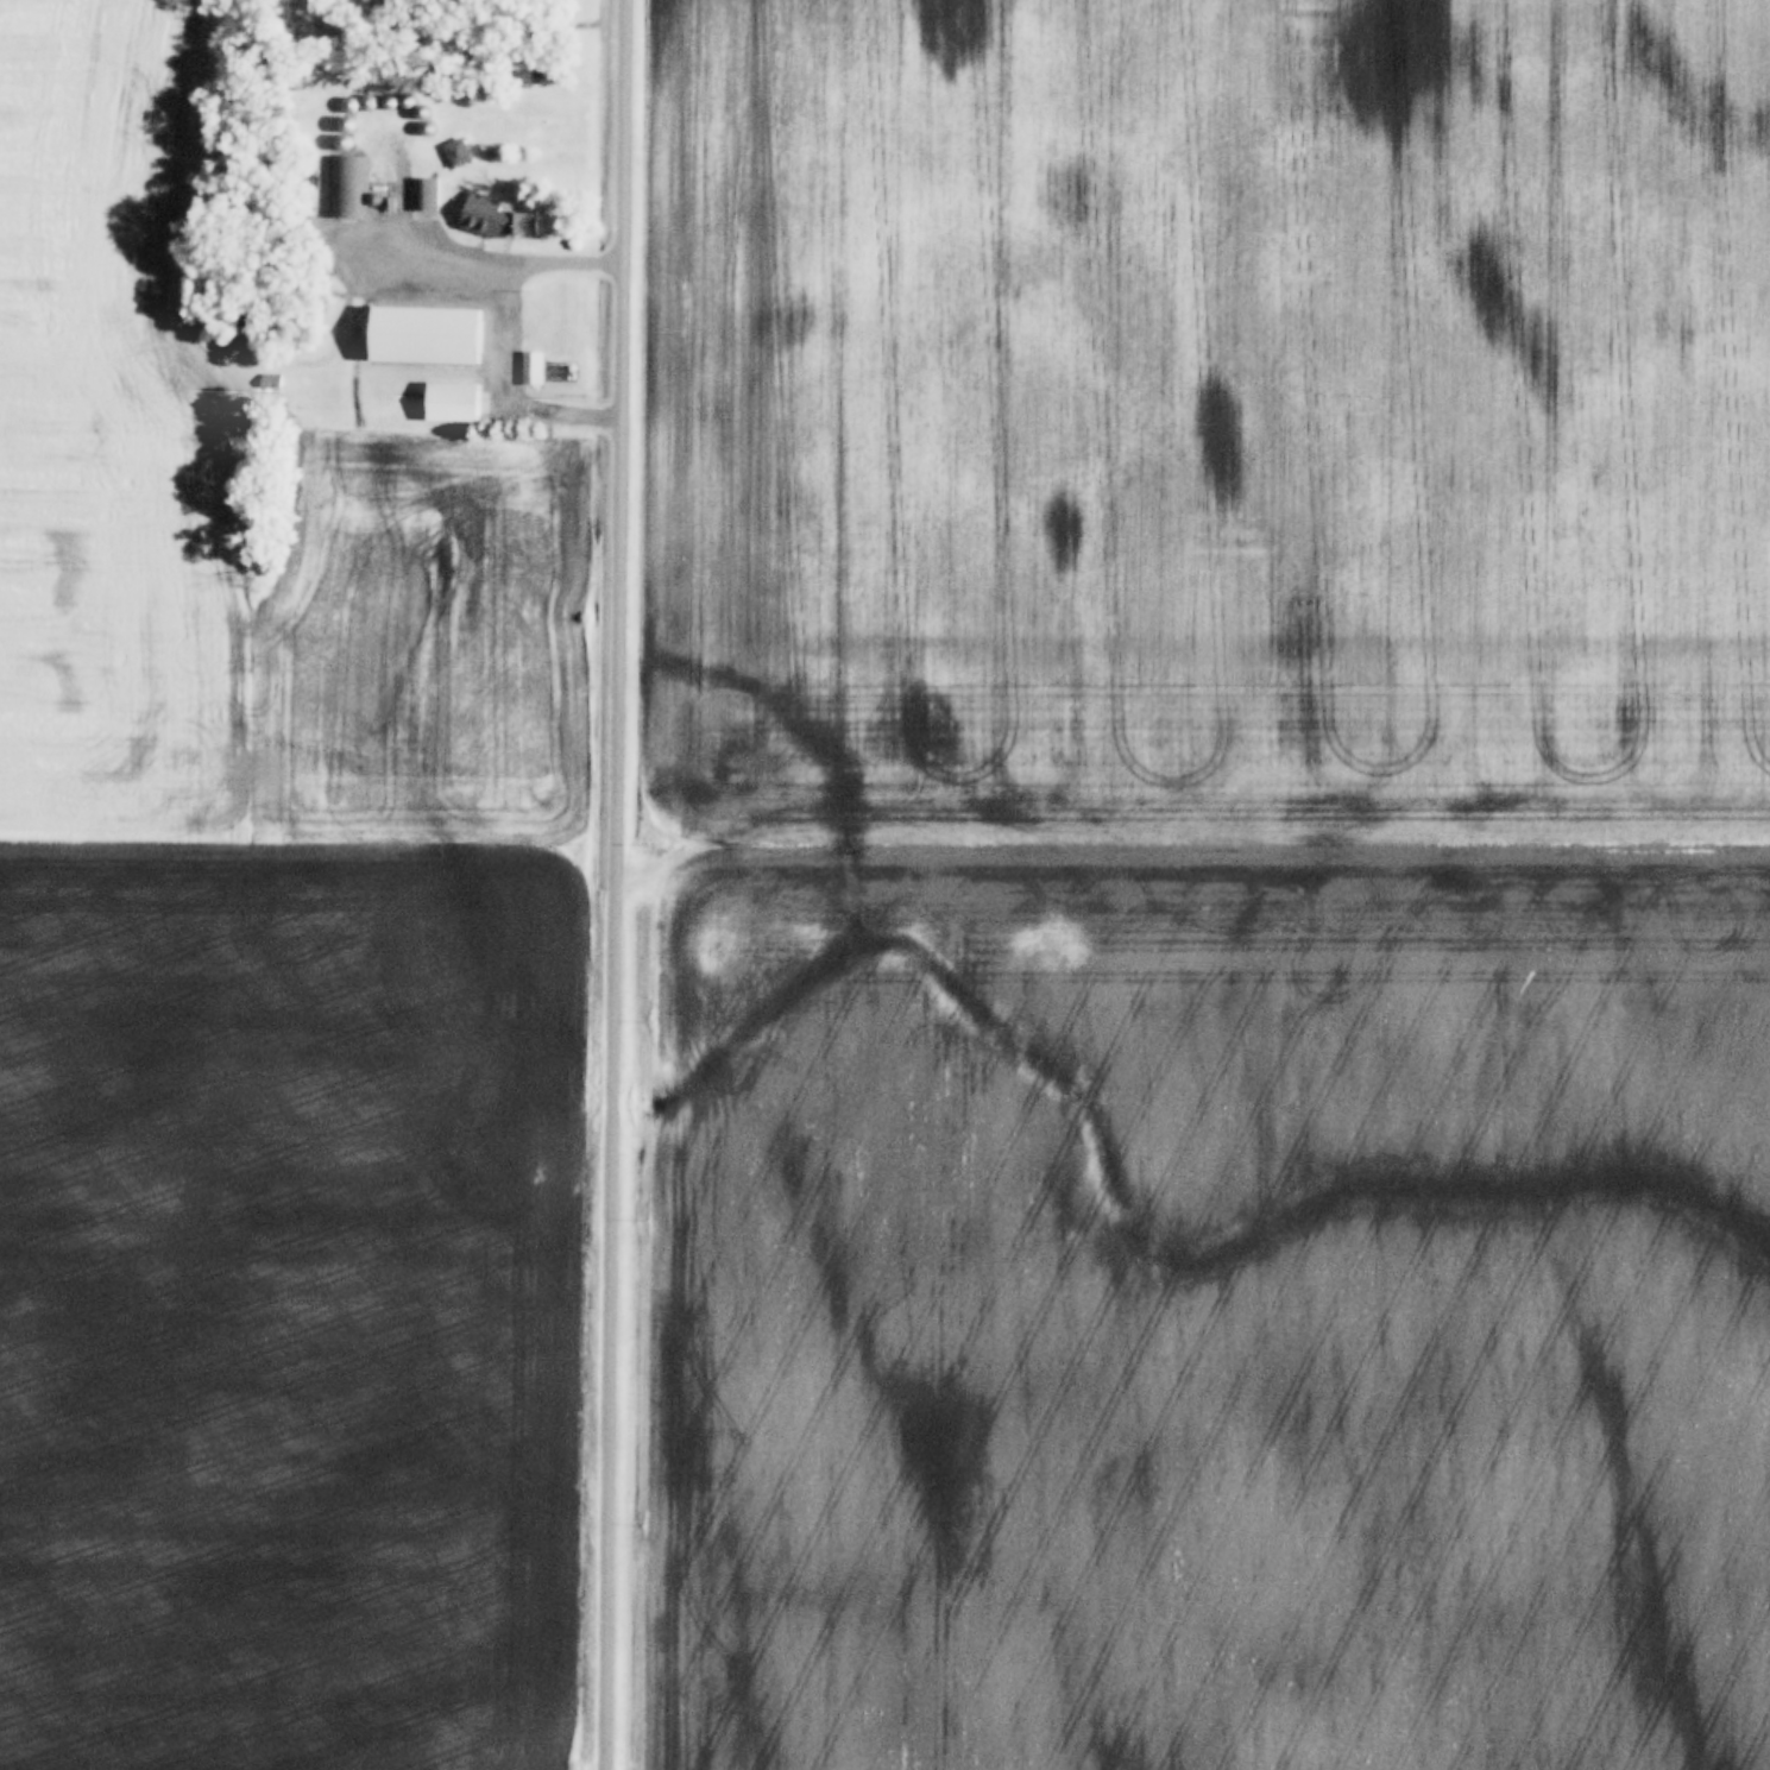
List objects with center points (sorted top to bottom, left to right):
building: (346, 188)
building: (479, 209)
building: (453, 335)
road: (502, 335)
building: (530, 369)
building: (453, 402)
road: (619, 884)

